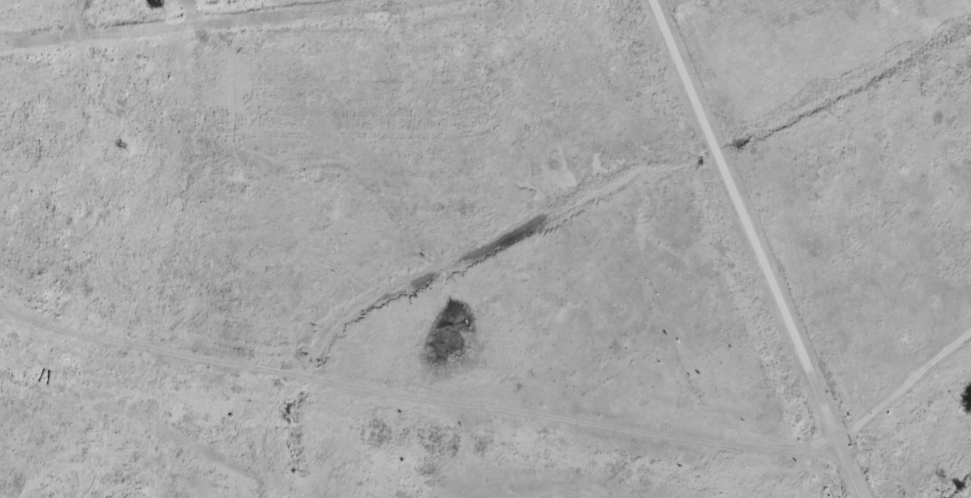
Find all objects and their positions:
road: (751, 251)
road: (905, 385)

